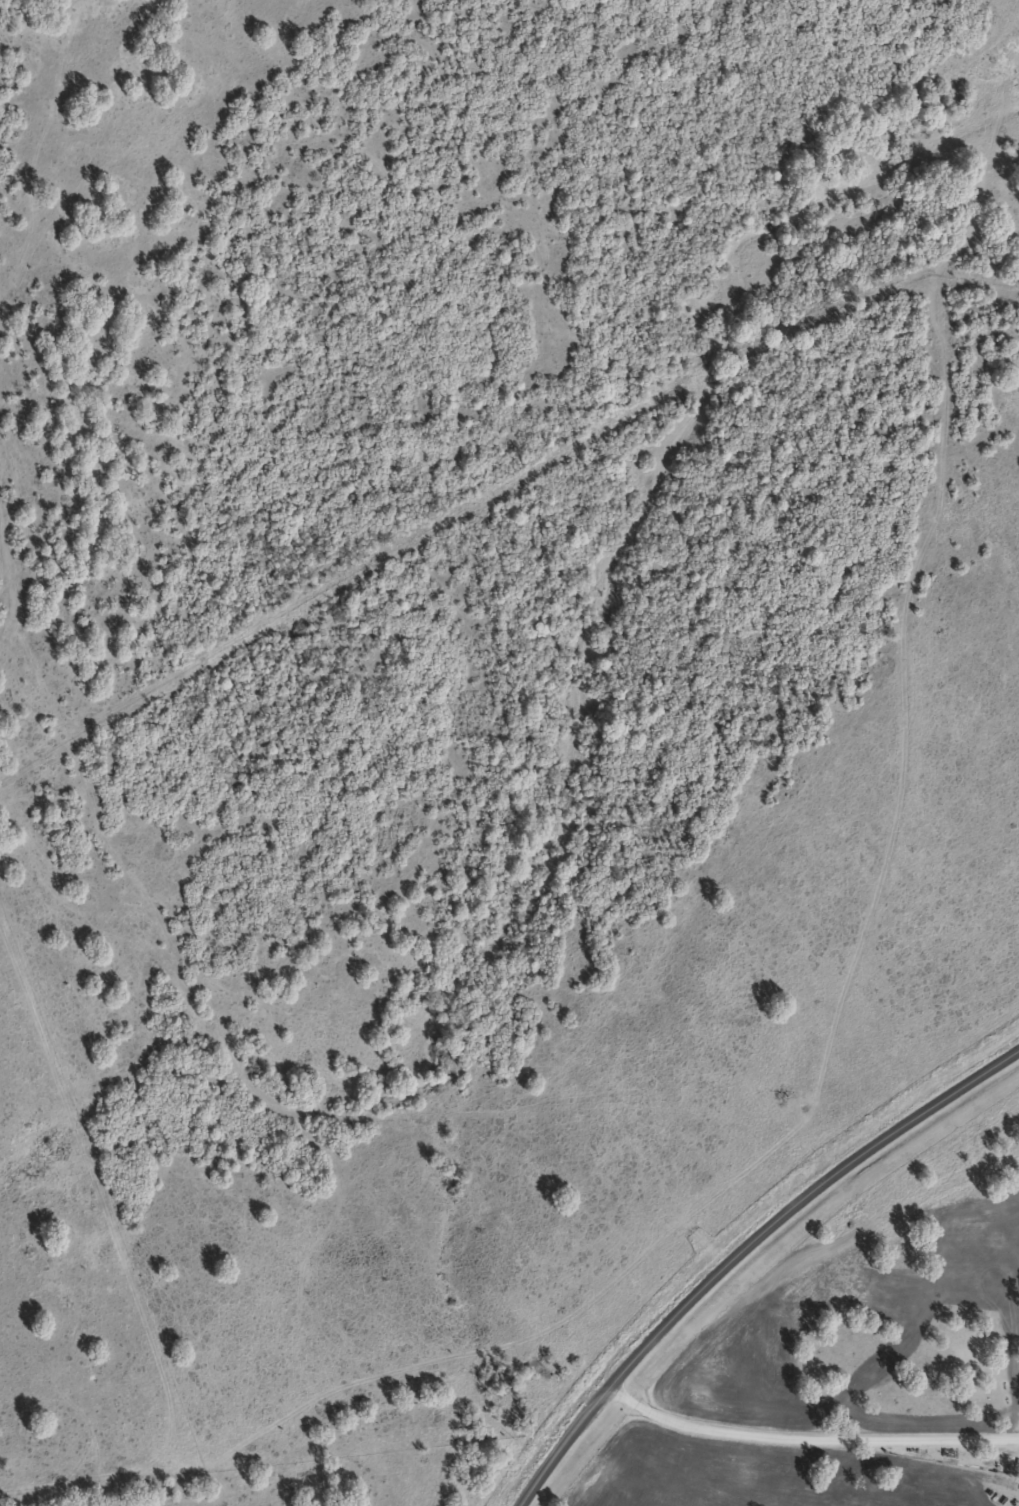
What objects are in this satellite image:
road: (746, 1251)

